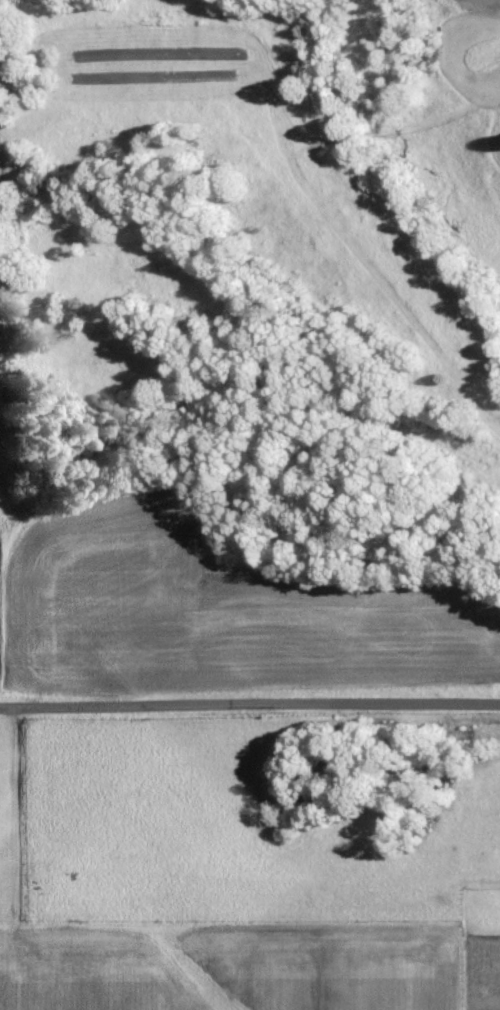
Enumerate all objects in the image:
road: (250, 711)

